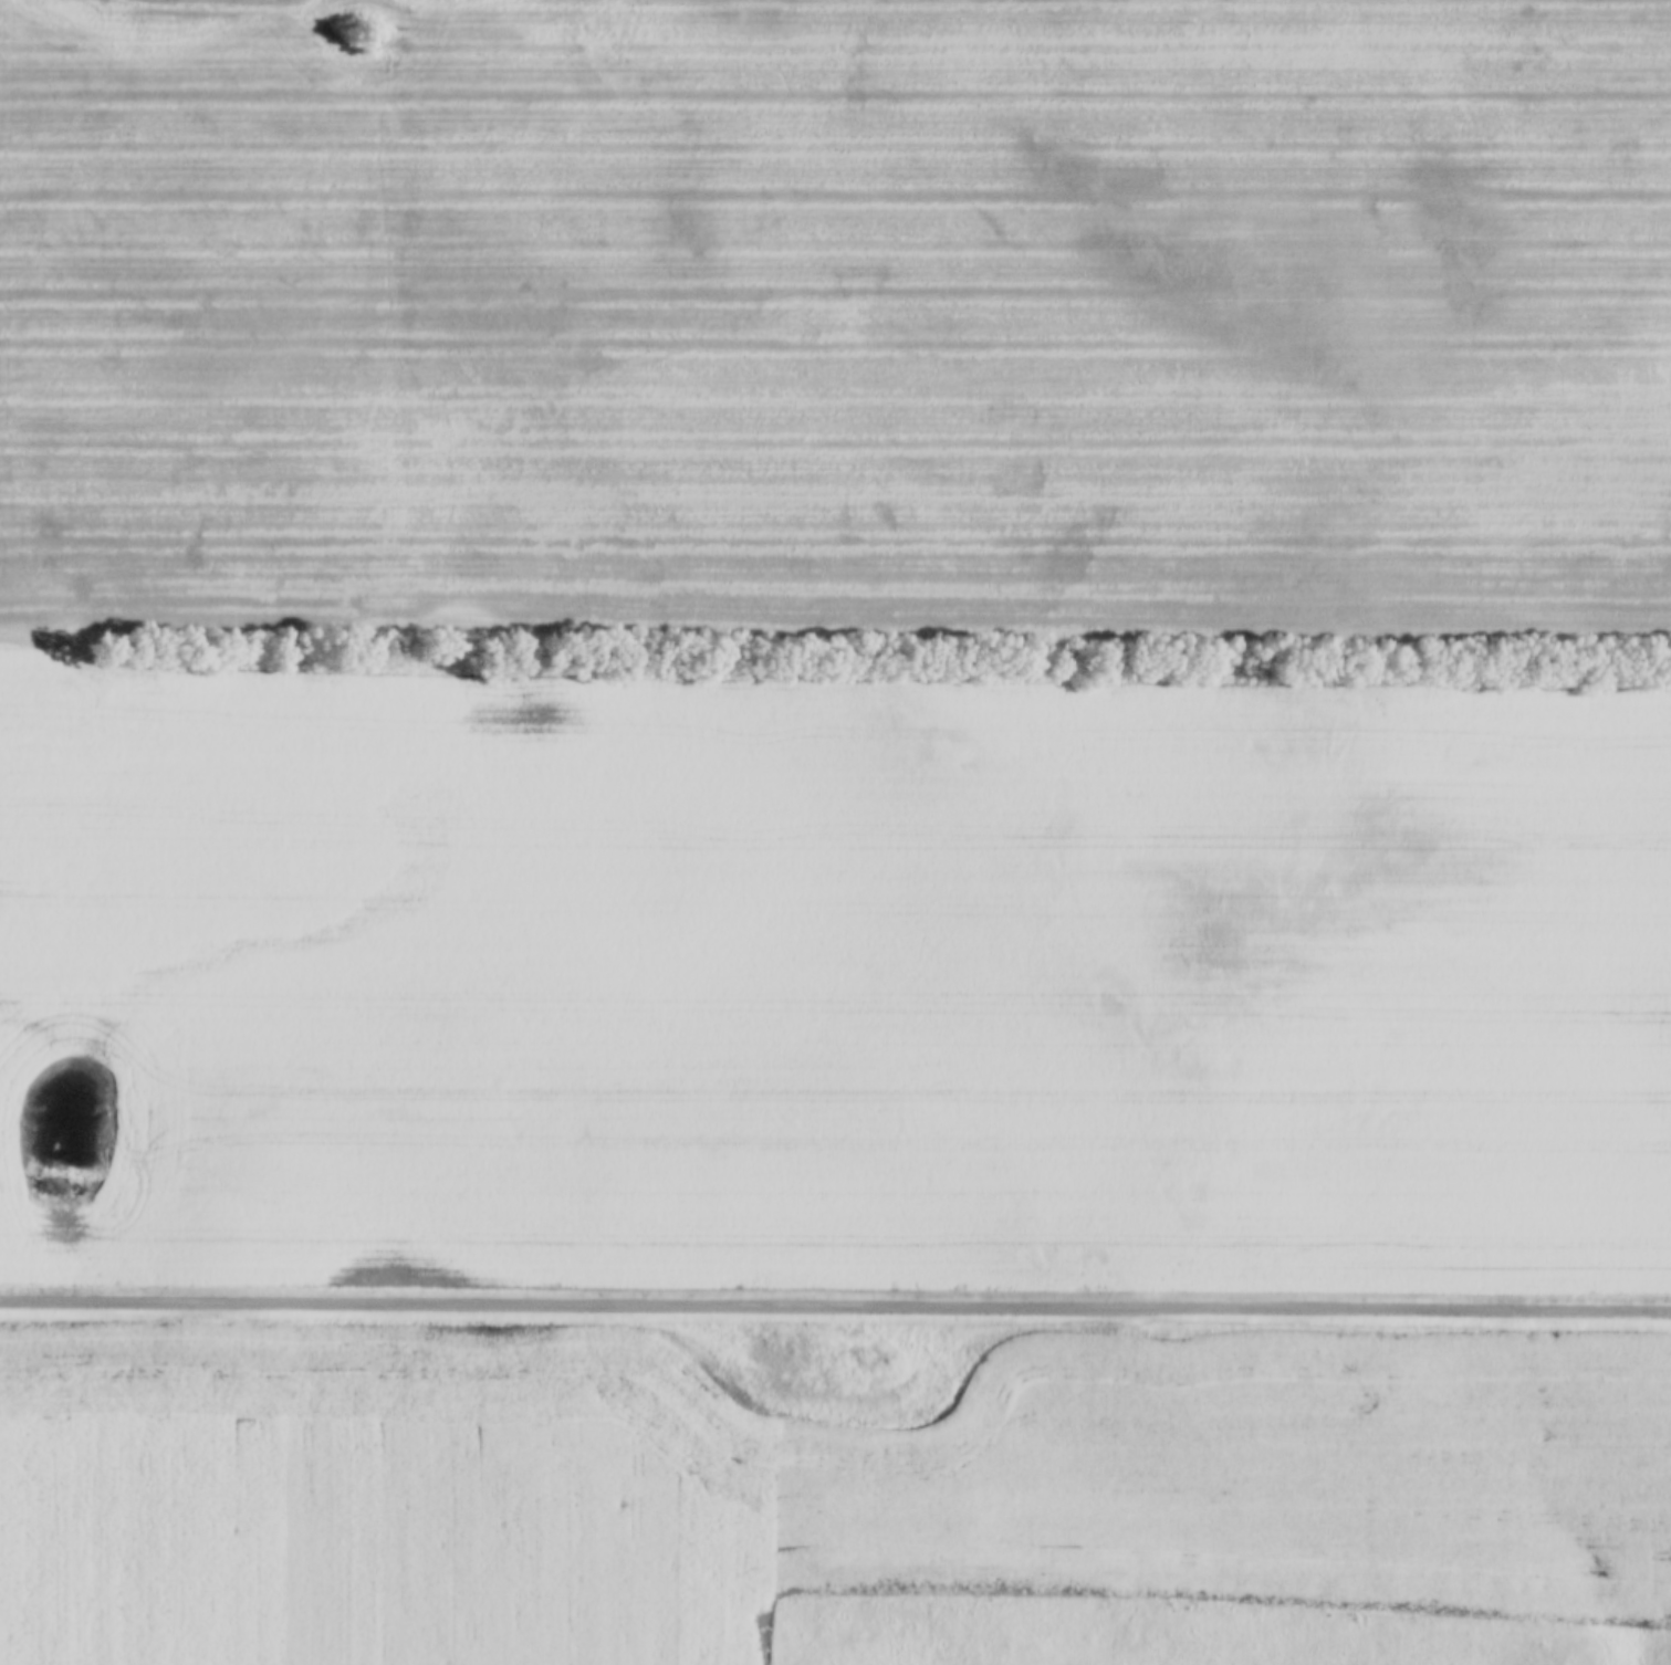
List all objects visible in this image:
road: (835, 1310)

